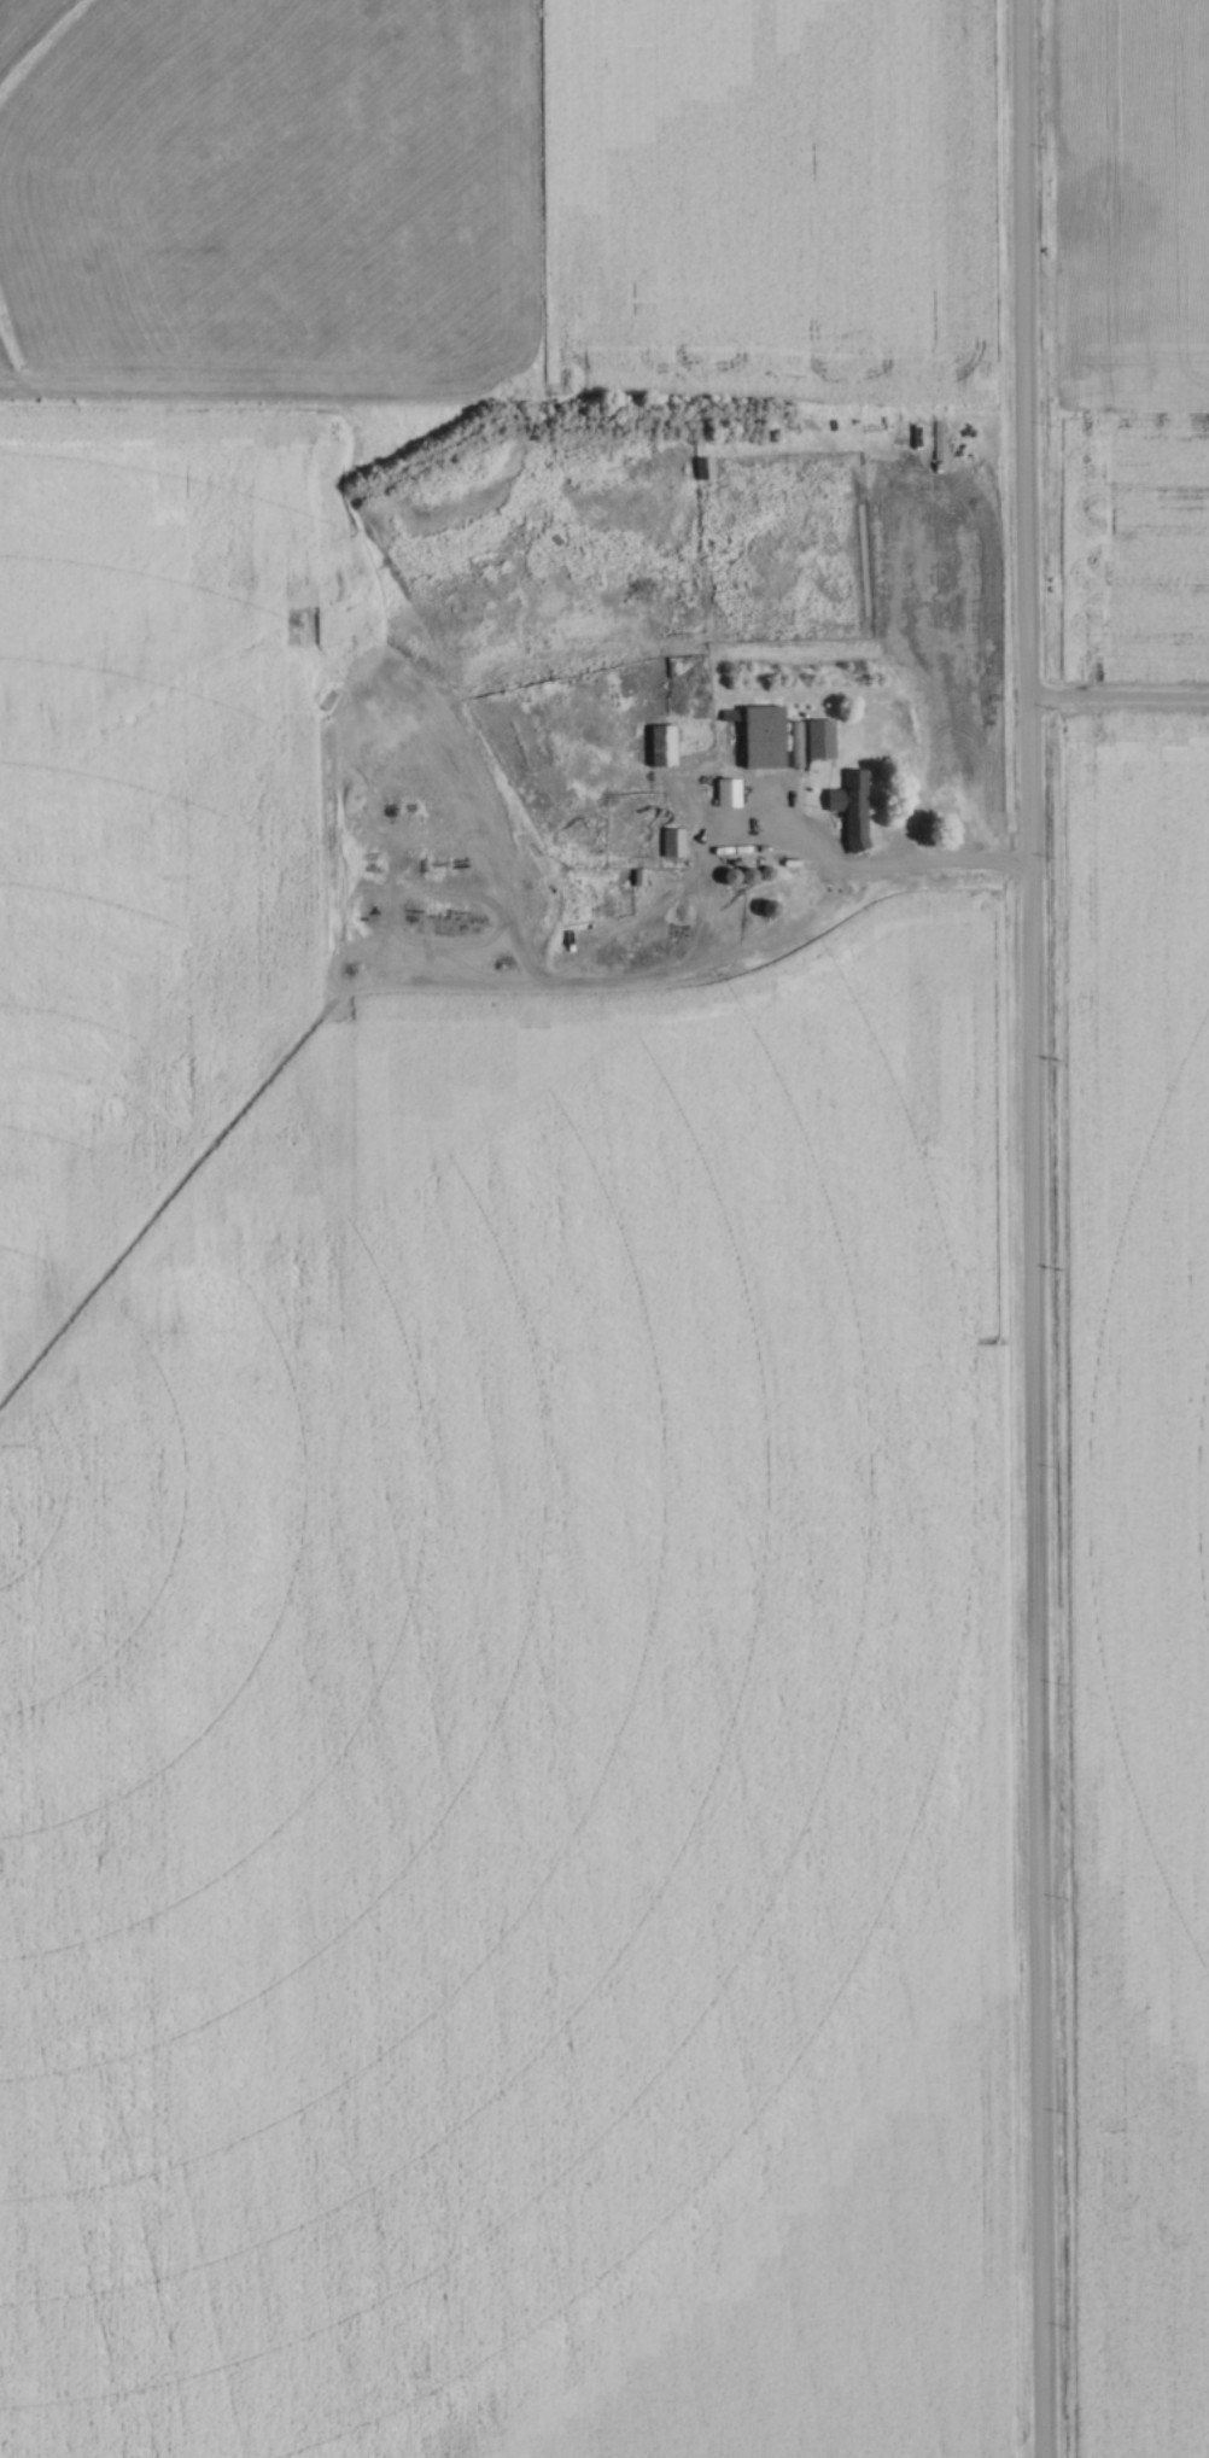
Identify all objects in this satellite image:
building: (705, 467)
road: (1114, 705)
building: (765, 736)
building: (820, 738)
building: (662, 746)
building: (728, 793)
building: (854, 811)
building: (672, 842)
road: (899, 871)
road: (1024, 1228)

